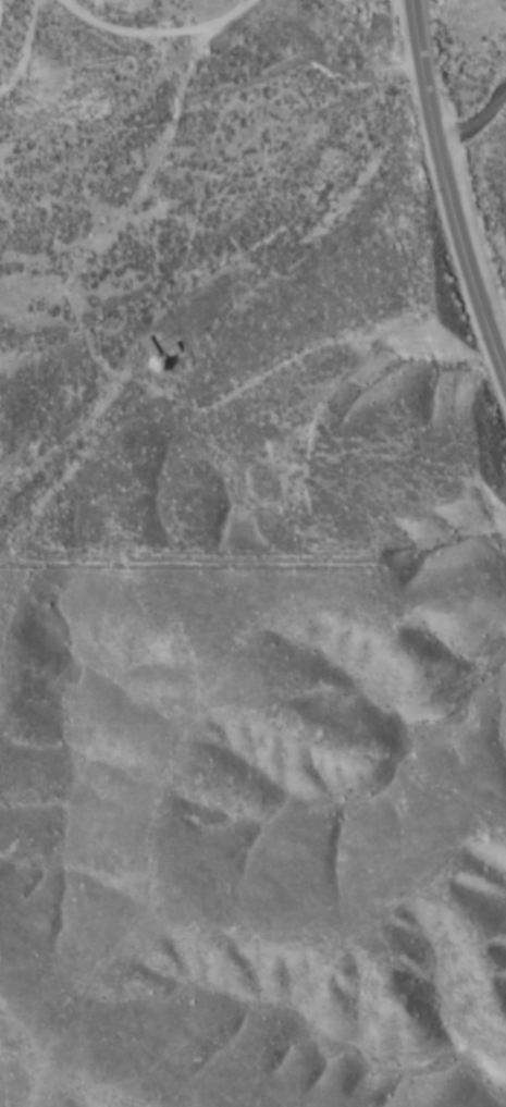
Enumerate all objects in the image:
road: (153, 157)
road: (461, 168)
building: (170, 350)
road: (150, 448)
road: (75, 512)
crop: (229, 598)
road: (248, 710)

